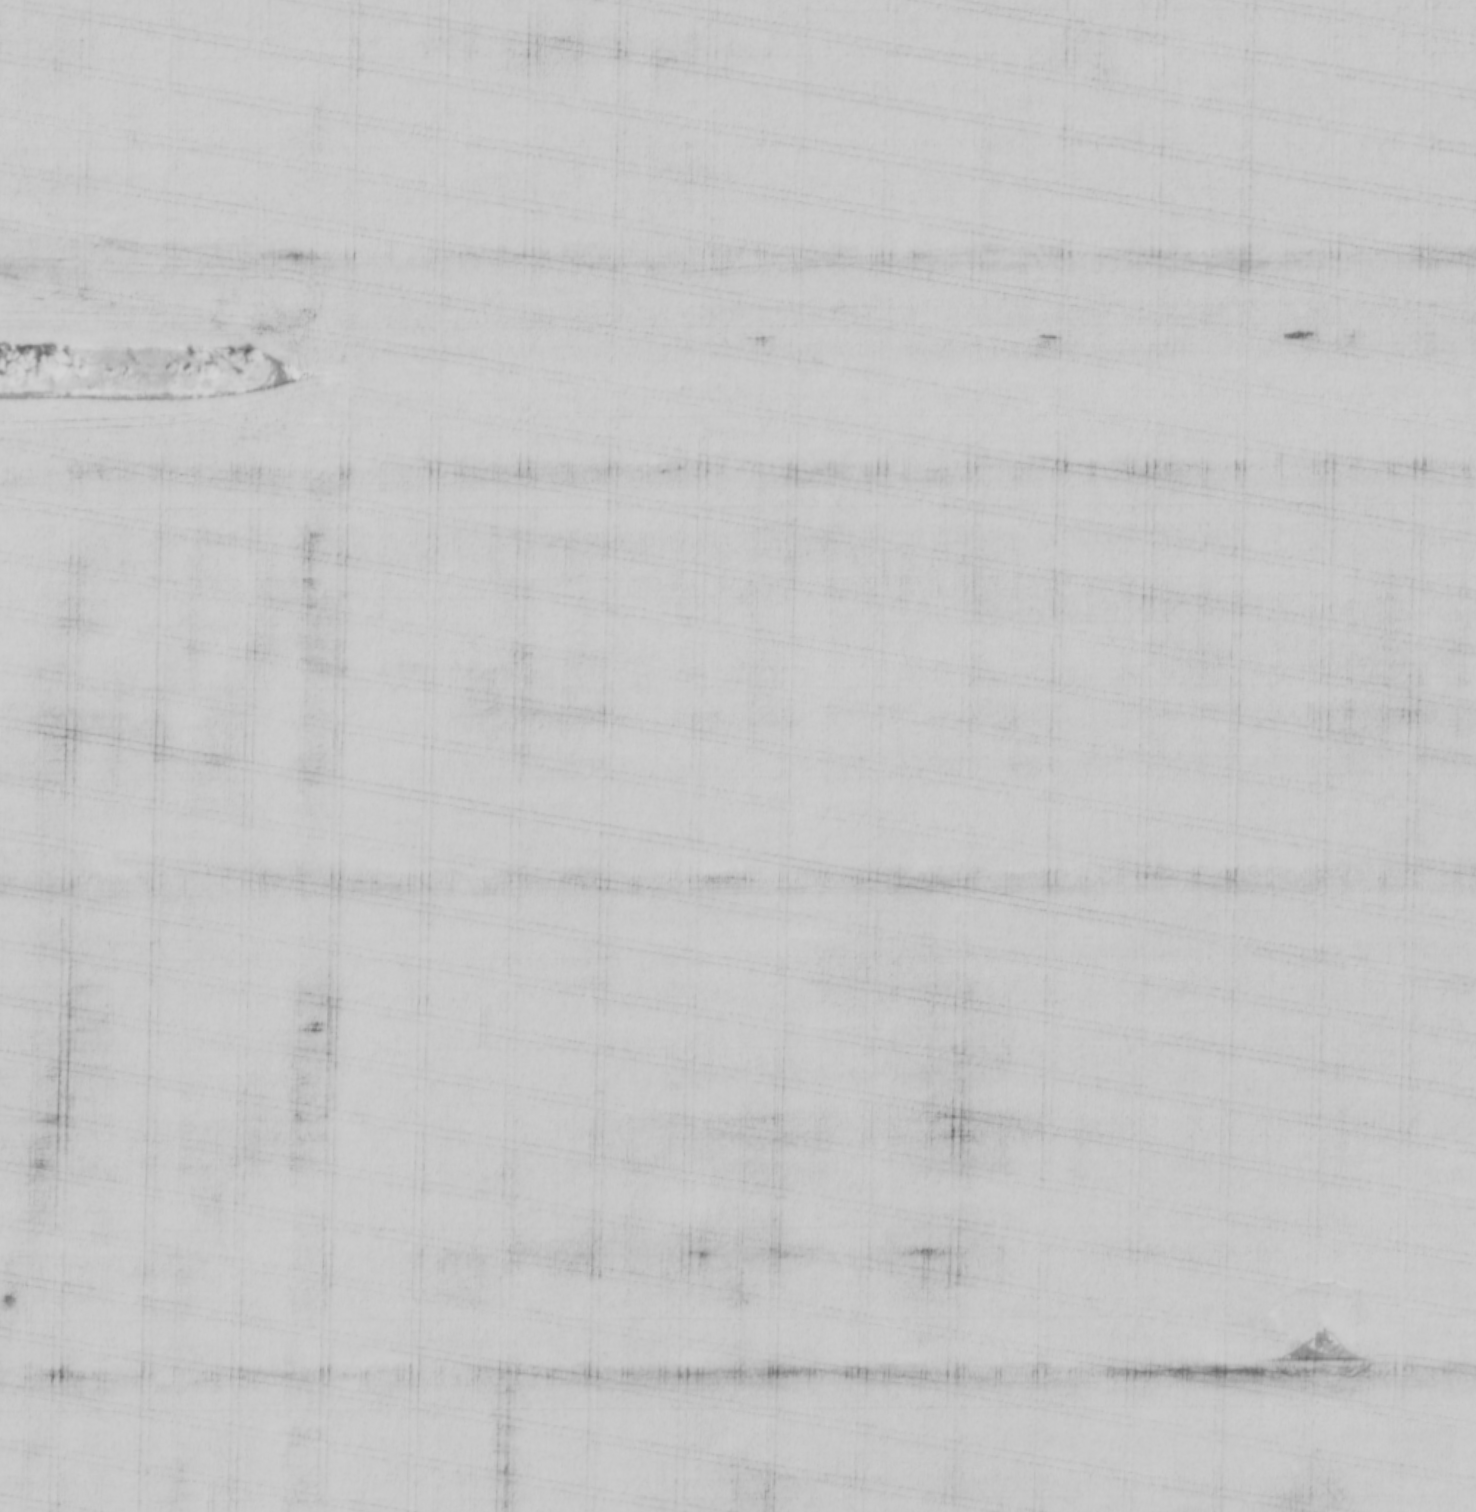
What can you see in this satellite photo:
crop: (740, 757)

